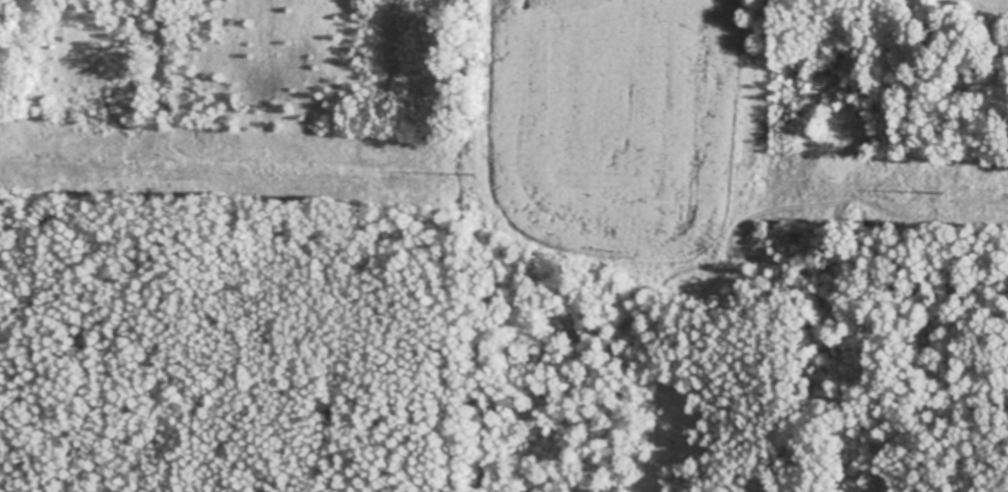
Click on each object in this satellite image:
power tower: (470, 176)
power tower: (942, 194)

